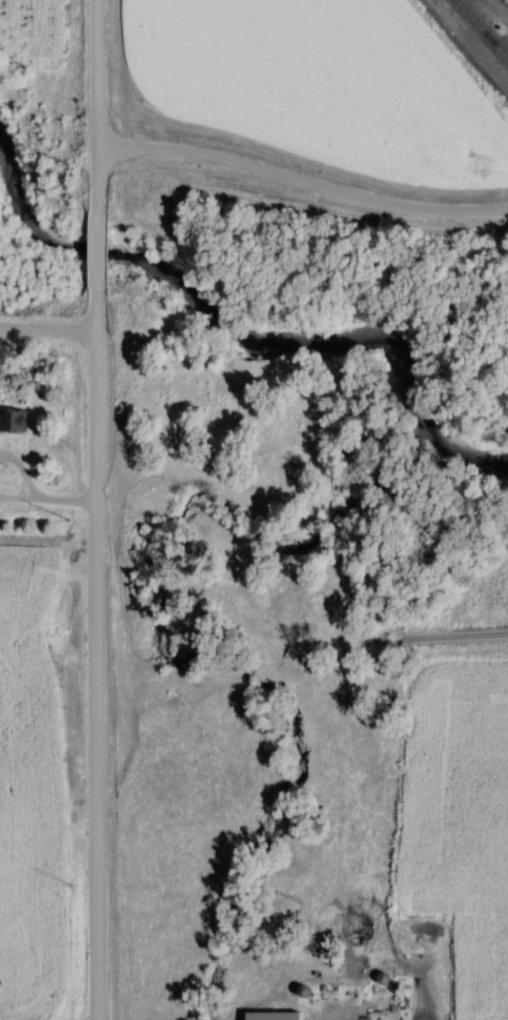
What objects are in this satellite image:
railway: (479, 31)
crop: (326, 85)
road: (100, 107)
road: (302, 207)
road: (102, 251)
road: (51, 324)
building: (12, 418)
road: (98, 653)
building: (269, 1015)

